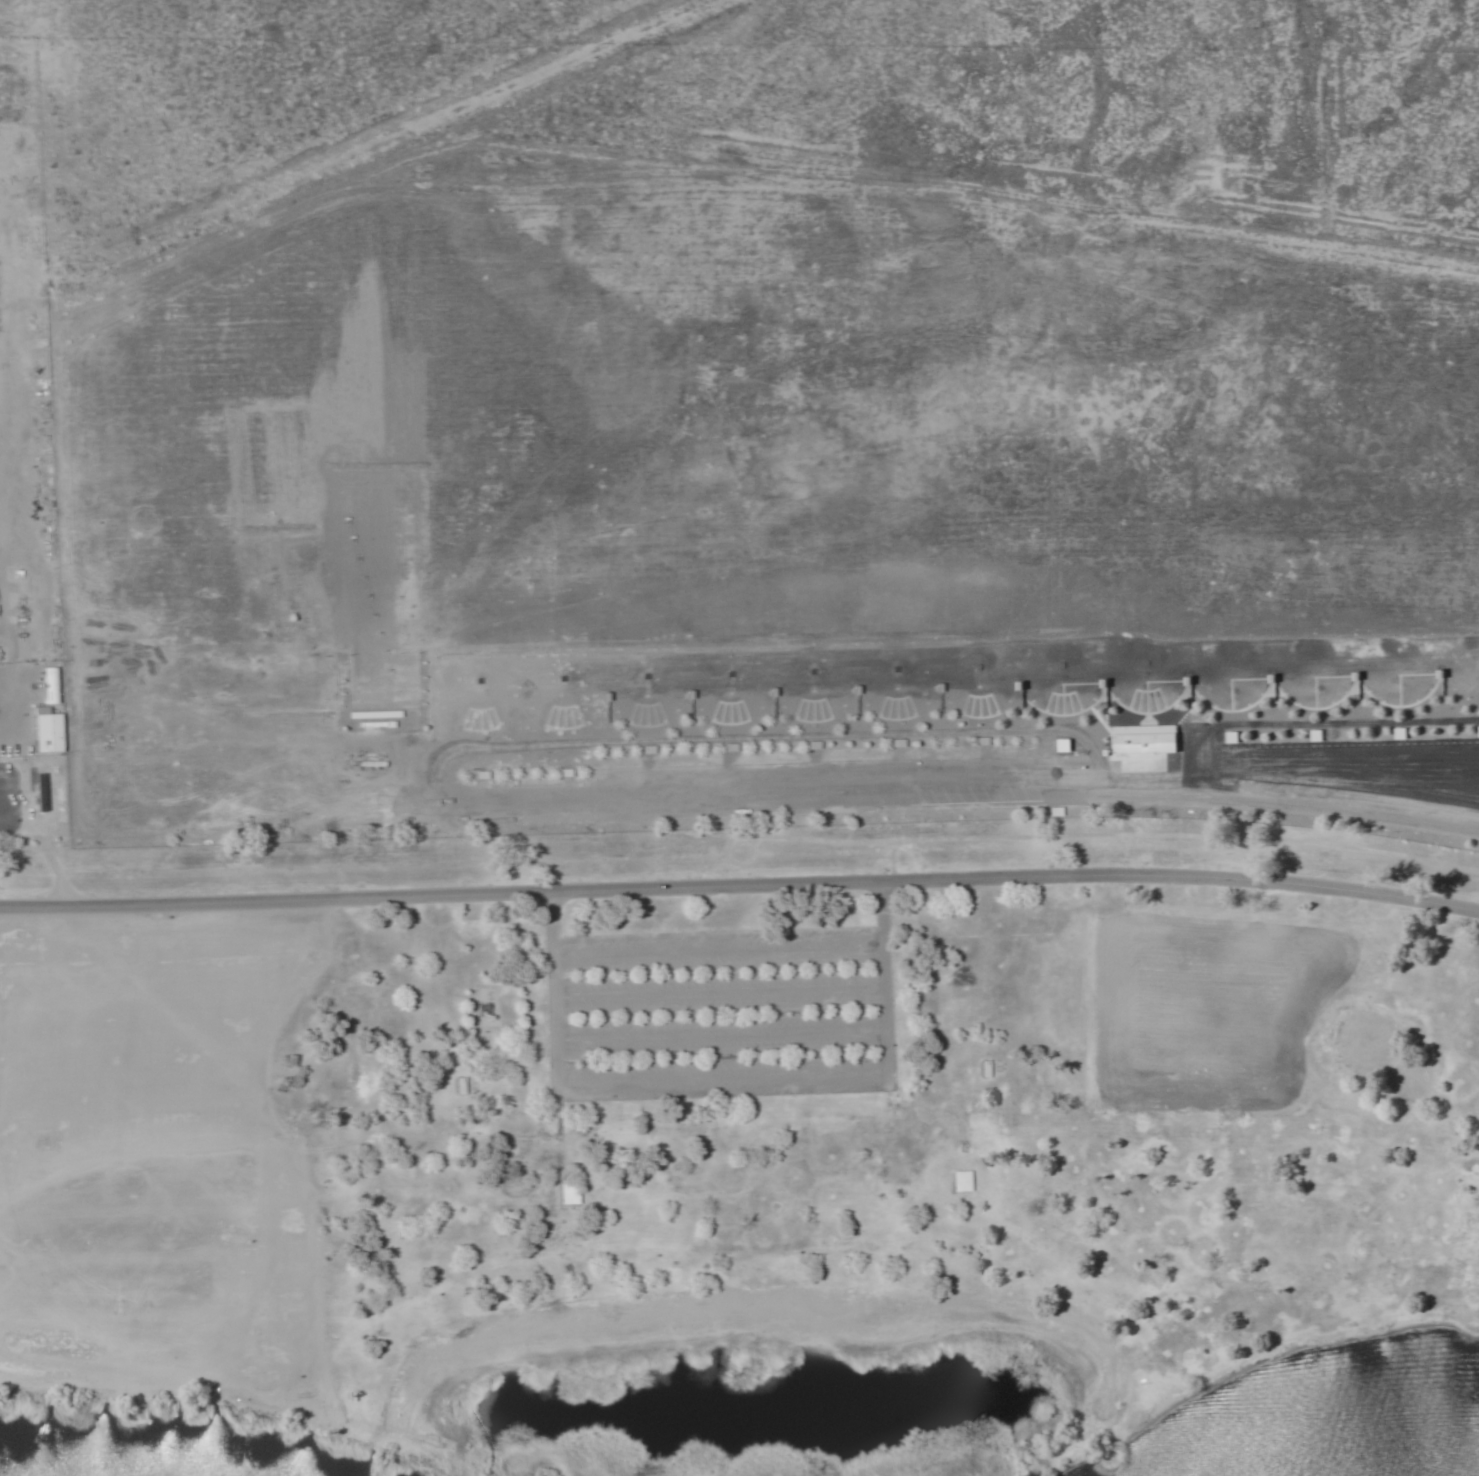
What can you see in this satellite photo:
road: (11, 731)
building: (48, 733)
building: (1146, 739)
road: (896, 796)
road: (740, 885)
road: (718, 950)
road: (723, 992)
parking lot: (723, 1013)
road: (726, 1037)
road: (731, 1080)
building: (461, 1086)
building: (960, 1182)
building: (569, 1194)

